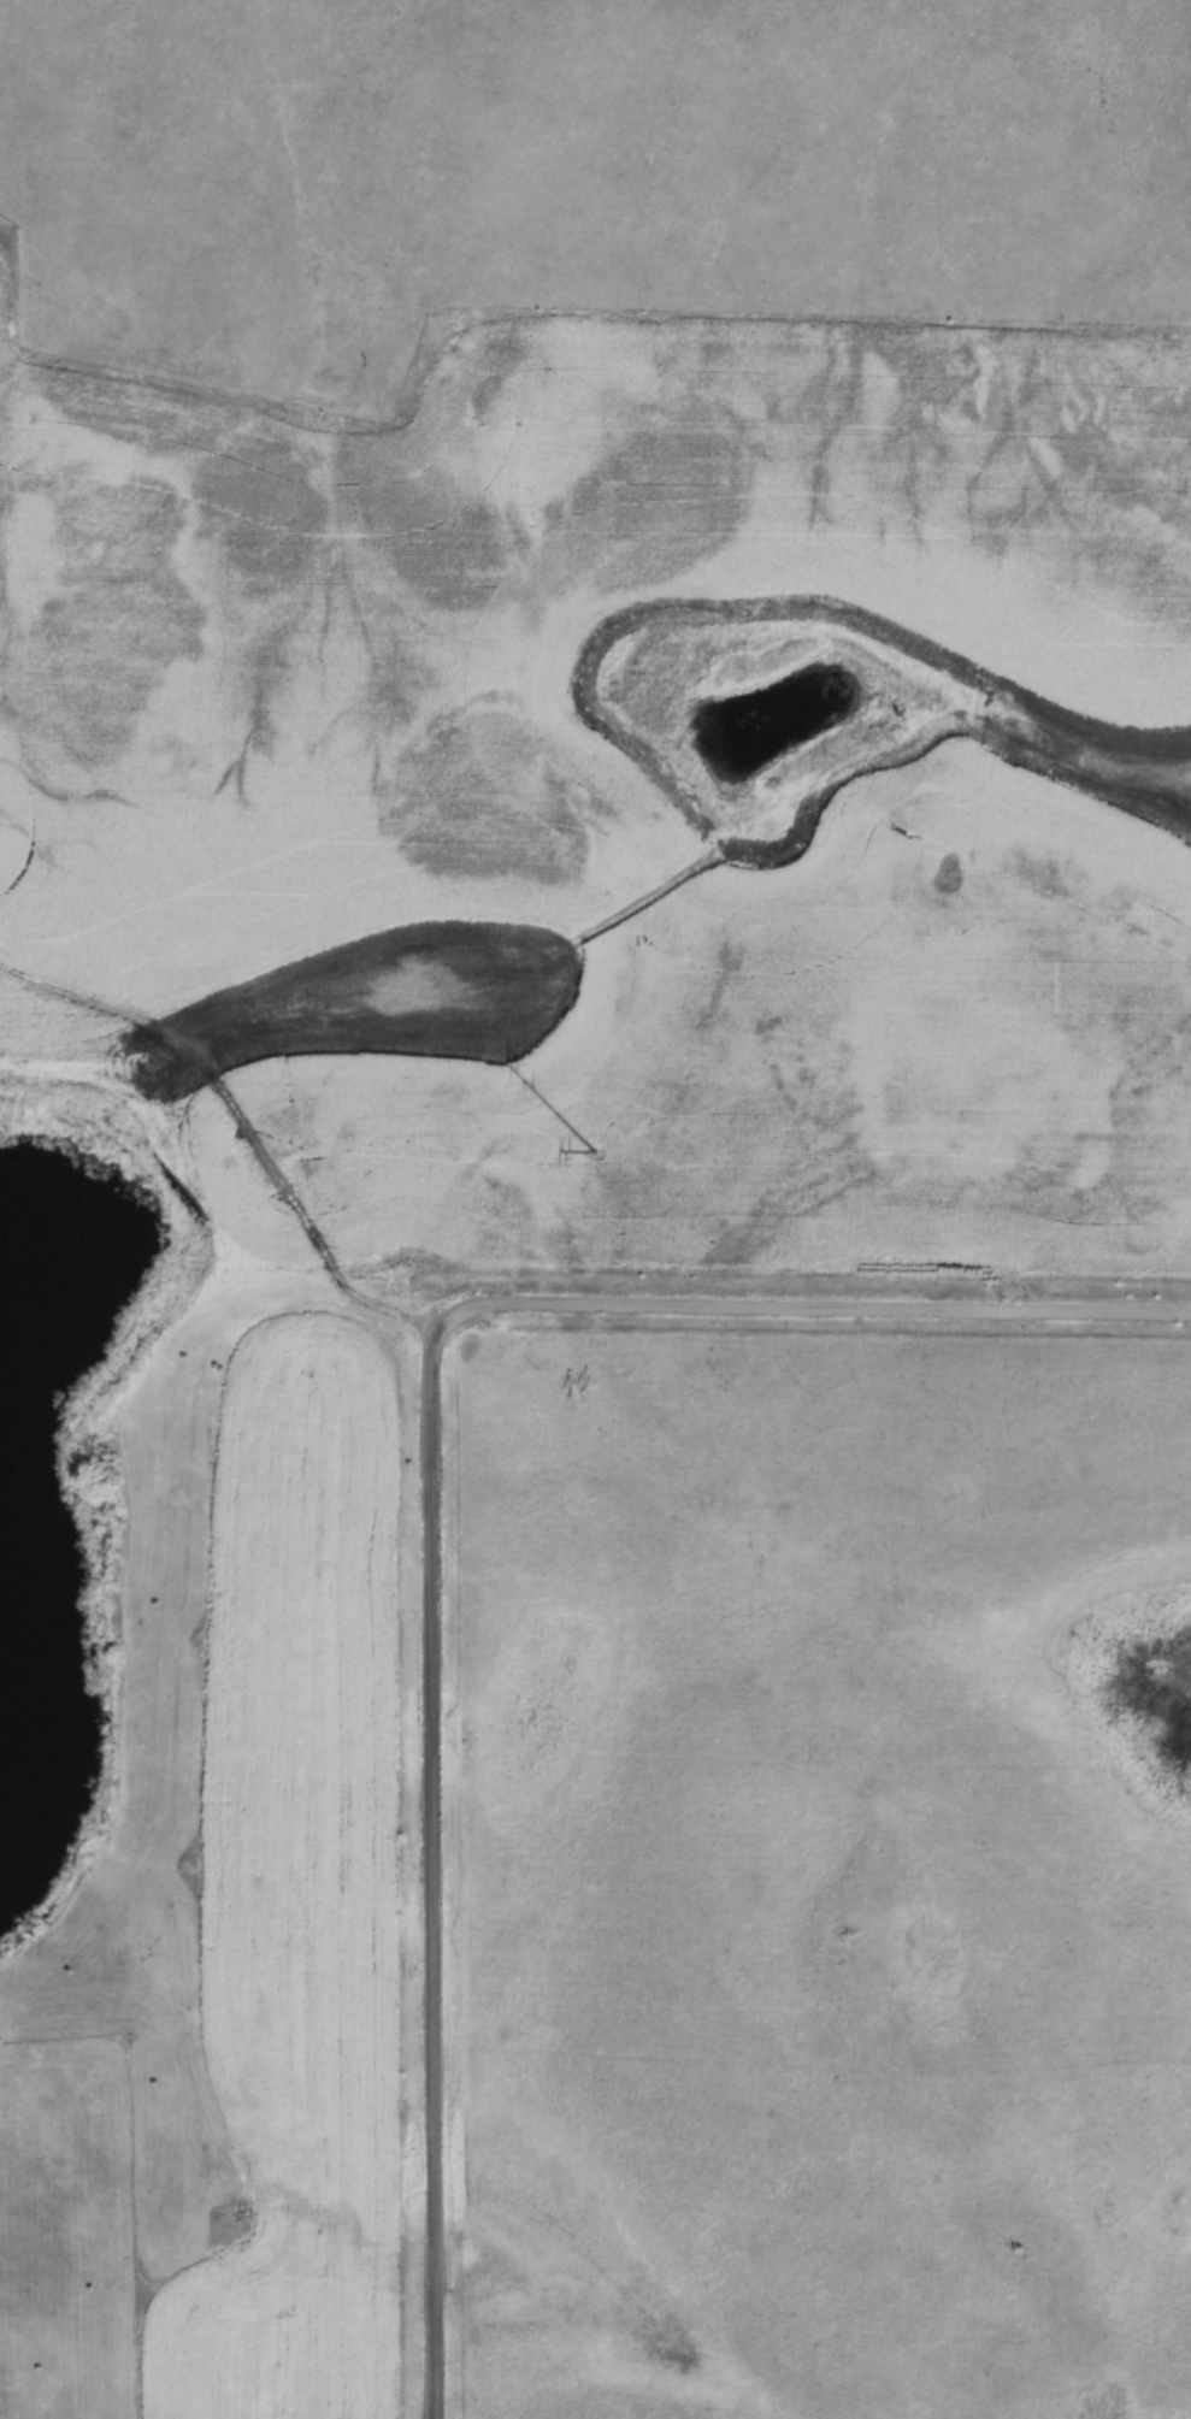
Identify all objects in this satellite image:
power tower: (582, 1143)
road: (816, 1305)
road: (434, 1863)

